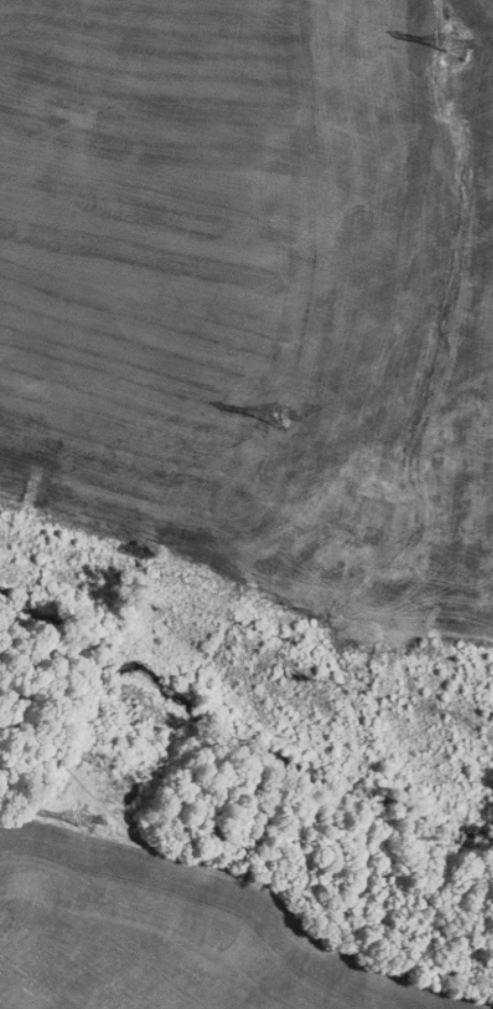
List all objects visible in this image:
power tower: (460, 46)
power tower: (282, 417)
power tower: (88, 821)

